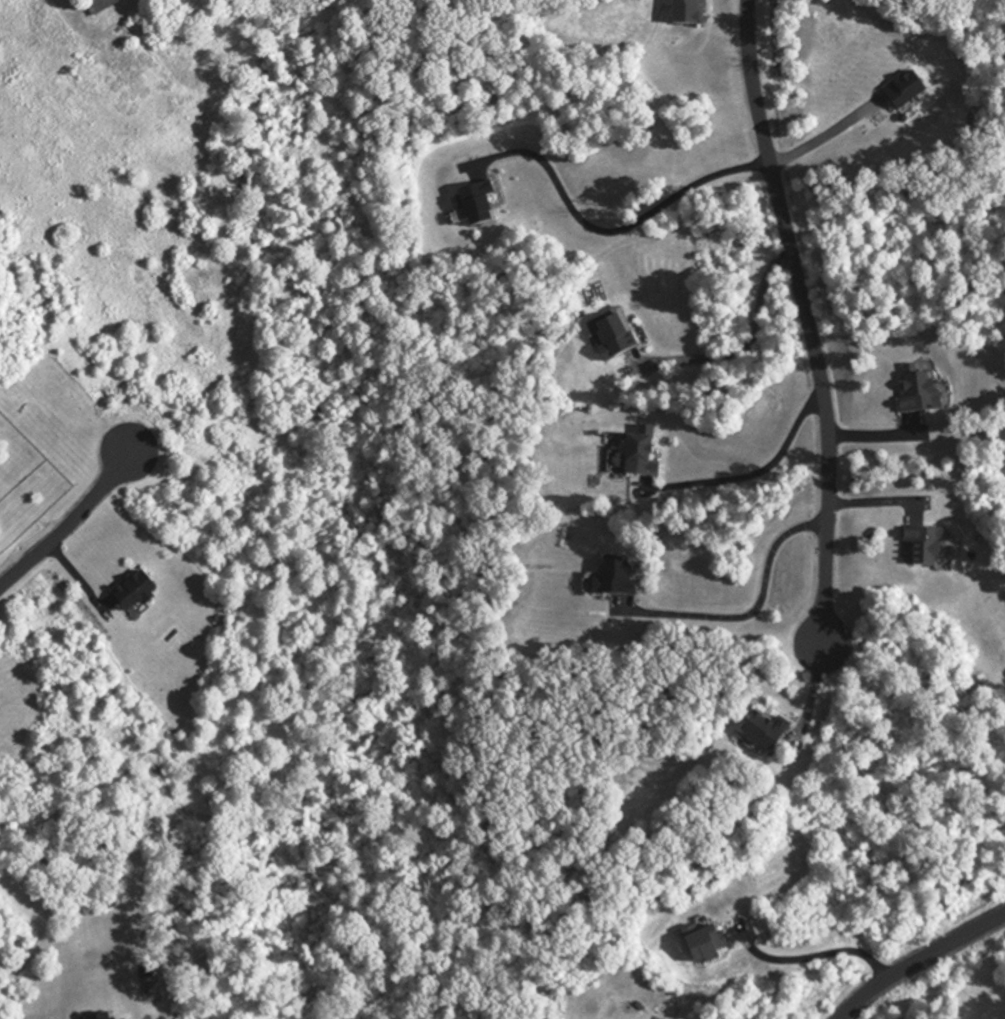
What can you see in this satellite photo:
building: (98, 6)
building: (684, 13)
building: (903, 91)
road: (818, 139)
building: (471, 207)
road: (610, 231)
road: (805, 319)
building: (611, 337)
road: (746, 345)
road: (878, 436)
building: (637, 456)
road: (763, 468)
road: (879, 501)
road: (70, 522)
building: (921, 548)
building: (611, 579)
building: (131, 593)
road: (753, 607)
road: (812, 694)
building: (762, 733)
building: (703, 944)
road: (820, 954)
road: (918, 960)
building: (101, 1017)

